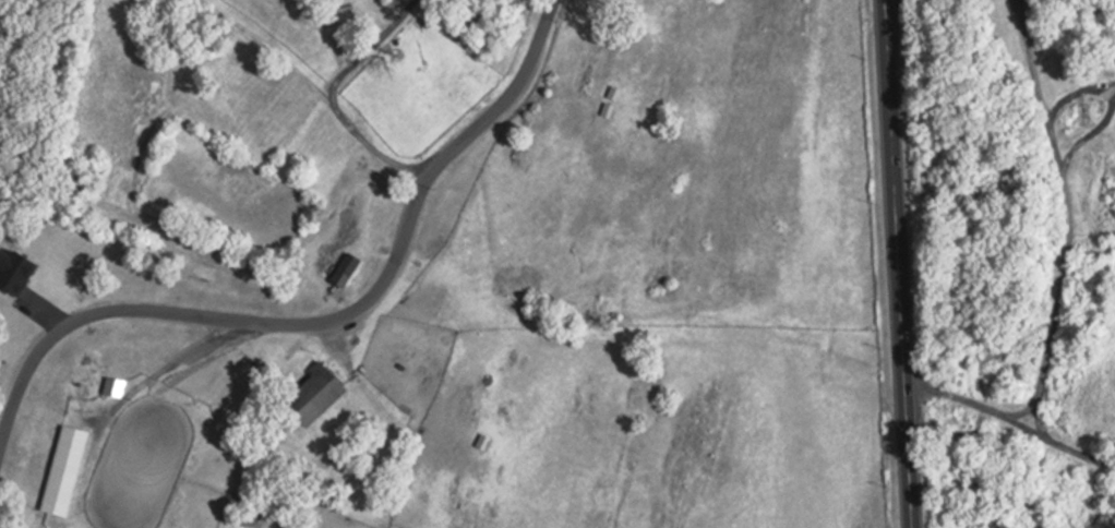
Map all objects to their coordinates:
road: (369, 49)
road: (316, 88)
road: (1108, 95)
road: (1103, 105)
road: (1068, 216)
road: (901, 263)
building: (351, 269)
road: (325, 324)
building: (119, 386)
building: (321, 395)
road: (1014, 423)
building: (70, 471)
building: (253, 515)

